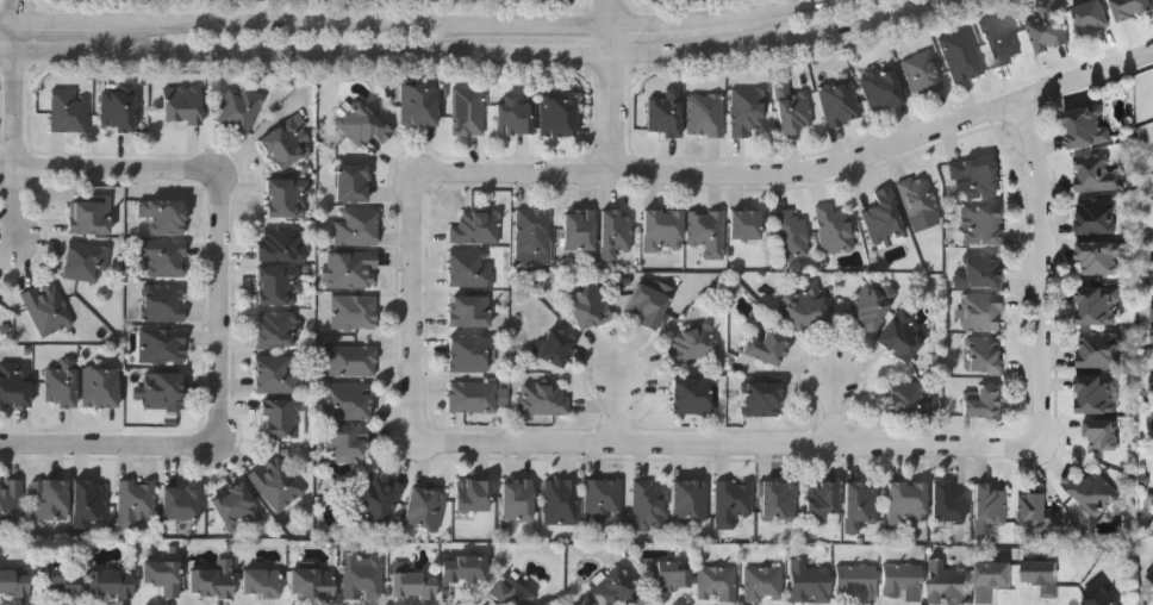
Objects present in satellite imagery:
building: (1133, 7)
road: (780, 10)
road: (21, 11)
road: (613, 13)
building: (1092, 15)
road: (11, 20)
road: (64, 21)
road: (674, 23)
road: (361, 24)
building: (1048, 25)
building: (1001, 39)
building: (961, 55)
road: (474, 56)
building: (923, 73)
building: (881, 87)
road: (19, 92)
road: (615, 99)
building: (841, 101)
building: (419, 104)
building: (183, 105)
building: (119, 106)
building: (241, 108)
building: (468, 110)
building: (748, 110)
building: (794, 110)
building: (70, 111)
building: (666, 113)
building: (706, 114)
building: (515, 116)
building: (559, 116)
building: (363, 124)
building: (1089, 125)
building: (288, 142)
road: (110, 164)
building: (1097, 171)
building: (979, 175)
road: (797, 176)
building: (353, 182)
building: (918, 197)
building: (288, 198)
road: (20, 200)
building: (1097, 214)
building: (91, 216)
building: (163, 216)
building: (885, 216)
building: (984, 224)
building: (746, 225)
building: (357, 226)
building: (476, 227)
building: (580, 229)
building: (835, 229)
building: (535, 231)
building: (663, 231)
building: (708, 231)
building: (616, 232)
building: (792, 235)
building: (281, 244)
building: (163, 256)
building: (1099, 257)
building: (87, 261)
building: (1152, 261)
building: (472, 268)
building: (353, 269)
building: (984, 269)
road: (1037, 277)
building: (279, 286)
building: (1, 298)
building: (164, 302)
building: (1098, 304)
building: (588, 306)
building: (649, 306)
building: (805, 306)
building: (871, 306)
building: (48, 307)
road: (223, 307)
road: (419, 310)
building: (984, 311)
building: (1152, 311)
building: (356, 312)
building: (470, 312)
building: (278, 329)
building: (904, 336)
building: (696, 342)
building: (163, 345)
building: (768, 347)
building: (556, 349)
building: (1099, 349)
building: (468, 354)
building: (986, 355)
building: (353, 360)
building: (278, 373)
building: (1152, 381)
building: (14, 383)
building: (62, 385)
building: (101, 387)
building: (164, 389)
building: (1098, 393)
building: (692, 395)
building: (474, 397)
building: (912, 398)
building: (546, 399)
building: (761, 399)
building: (351, 401)
building: (986, 401)
road: (623, 416)
building: (282, 418)
building: (1152, 418)
road: (839, 419)
building: (1104, 434)
building: (347, 443)
road: (106, 444)
road: (730, 447)
building: (276, 482)
building: (1093, 491)
building: (474, 493)
building: (823, 497)
building: (50, 498)
building: (691, 498)
building: (518, 499)
building: (734, 499)
building: (779, 499)
building: (380, 500)
building: (562, 500)
building: (605, 500)
building: (908, 500)
building: (89, 501)
building: (137, 501)
building: (181, 501)
building: (947, 501)
building: (992, 501)
building: (11, 504)
building: (862, 504)
building: (649, 505)
building: (236, 506)
building: (425, 507)
building: (1039, 507)
building: (465, 567)
building: (1151, 572)
building: (1042, 574)
building: (163, 575)
building: (363, 575)
building: (671, 576)
building: (993, 576)
building: (213, 579)
building: (14, 581)
building: (62, 581)
building: (112, 581)
building: (262, 581)
building: (904, 581)
building: (312, 582)
building: (810, 582)
building: (856, 582)
building: (948, 582)
building: (415, 584)
building: (718, 584)
building: (765, 584)
building: (612, 587)
building: (511, 591)
building: (1101, 597)

